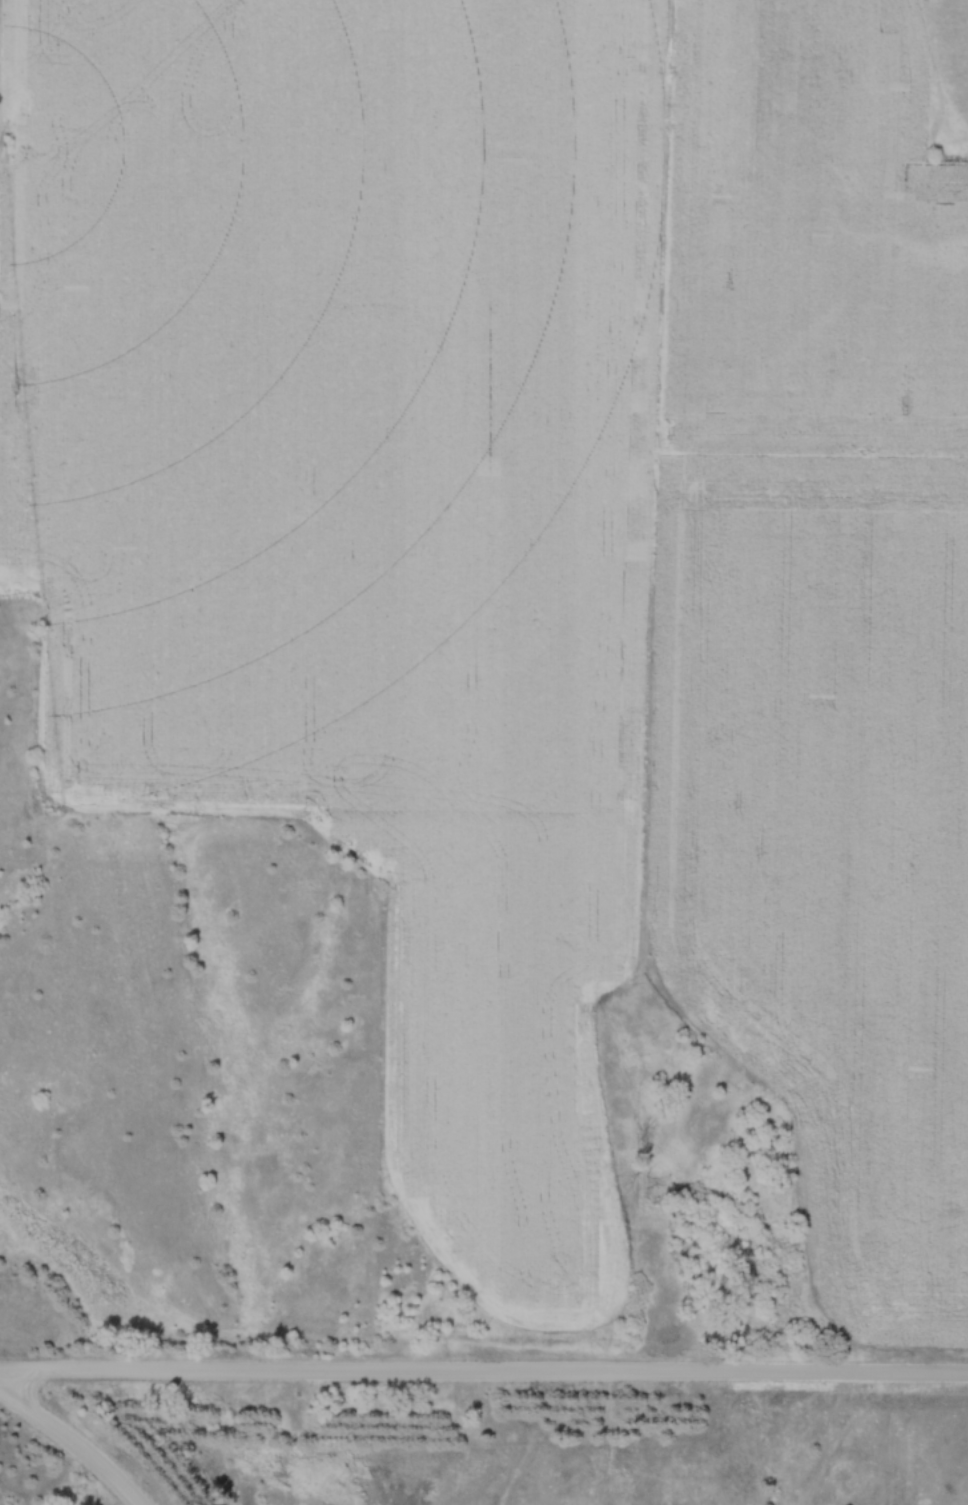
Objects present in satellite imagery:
road: (483, 1369)
road: (10, 1394)
road: (85, 1448)

